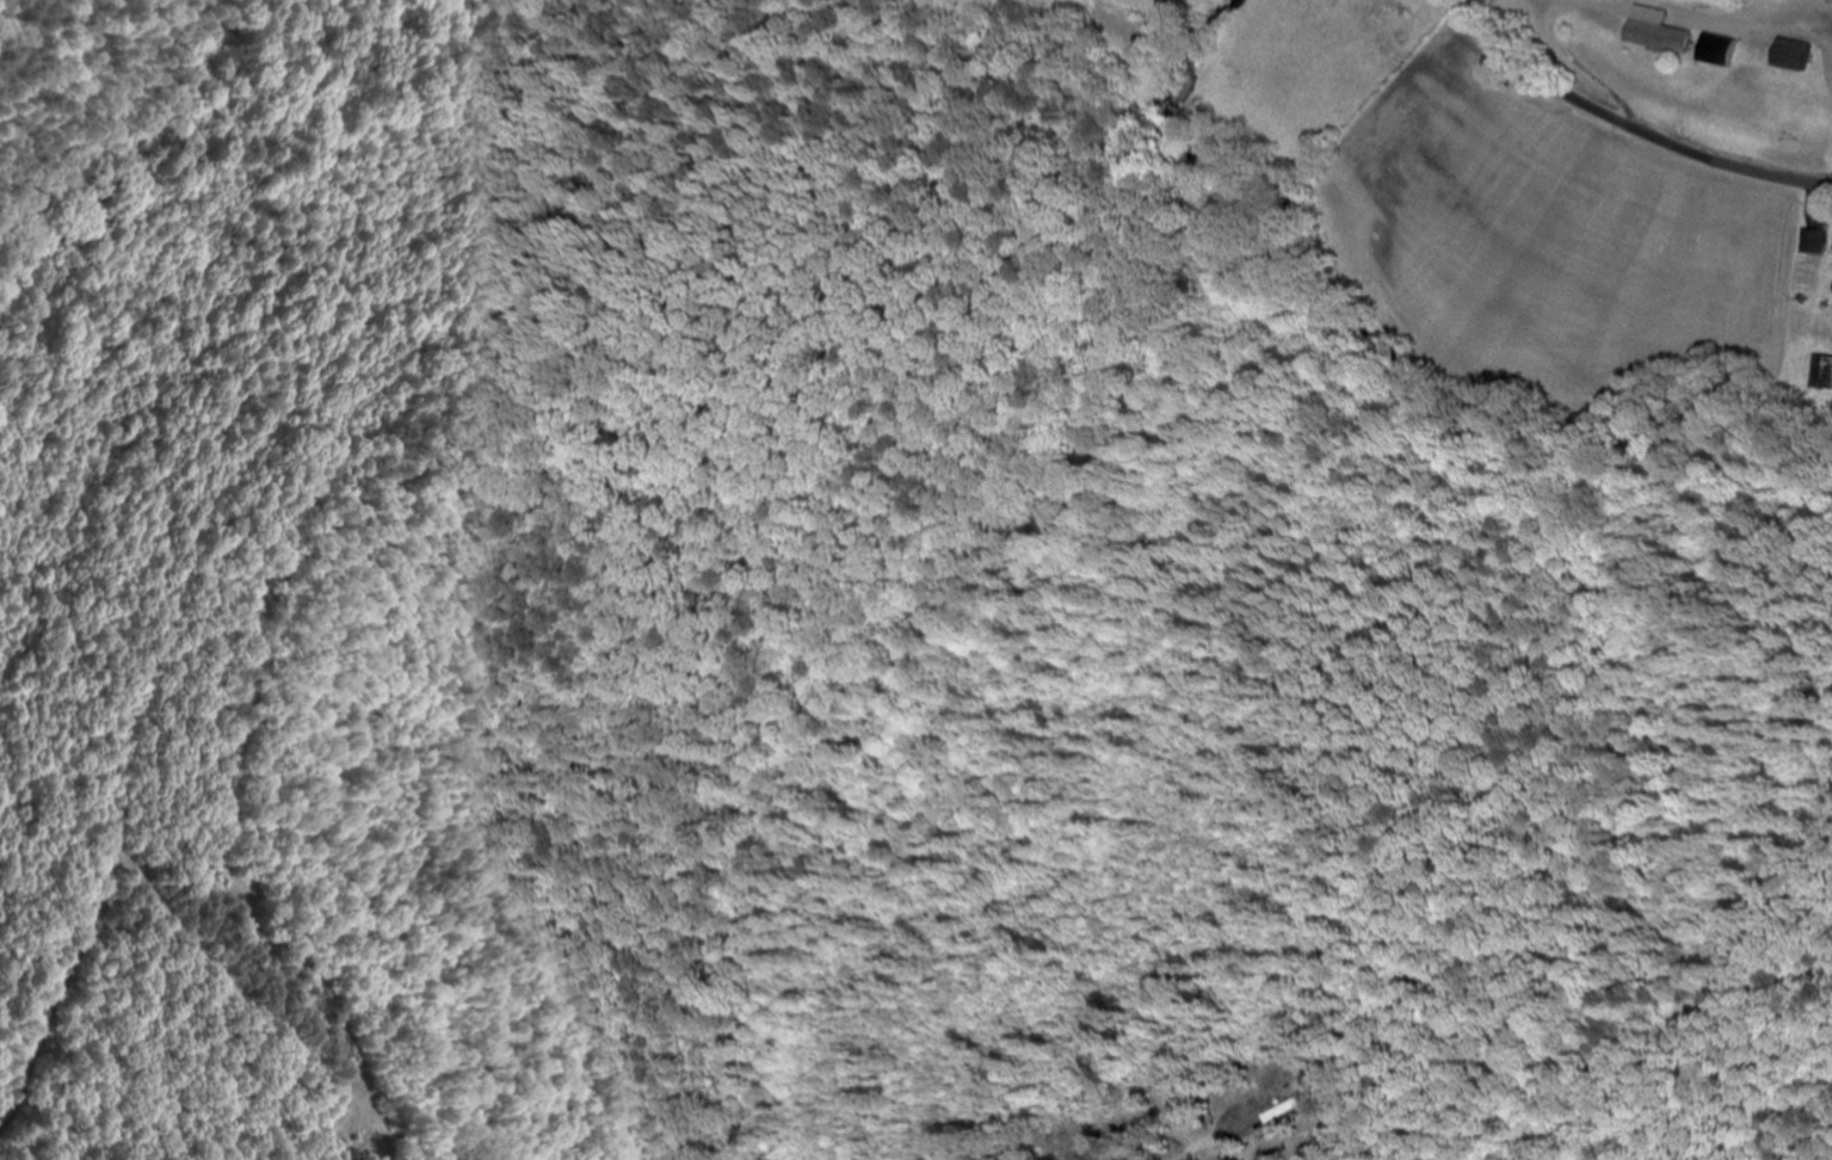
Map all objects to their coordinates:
building: (1659, 37)
building: (1719, 50)
building: (1794, 55)
road: (1623, 125)
building: (1813, 241)
building: (1822, 372)

